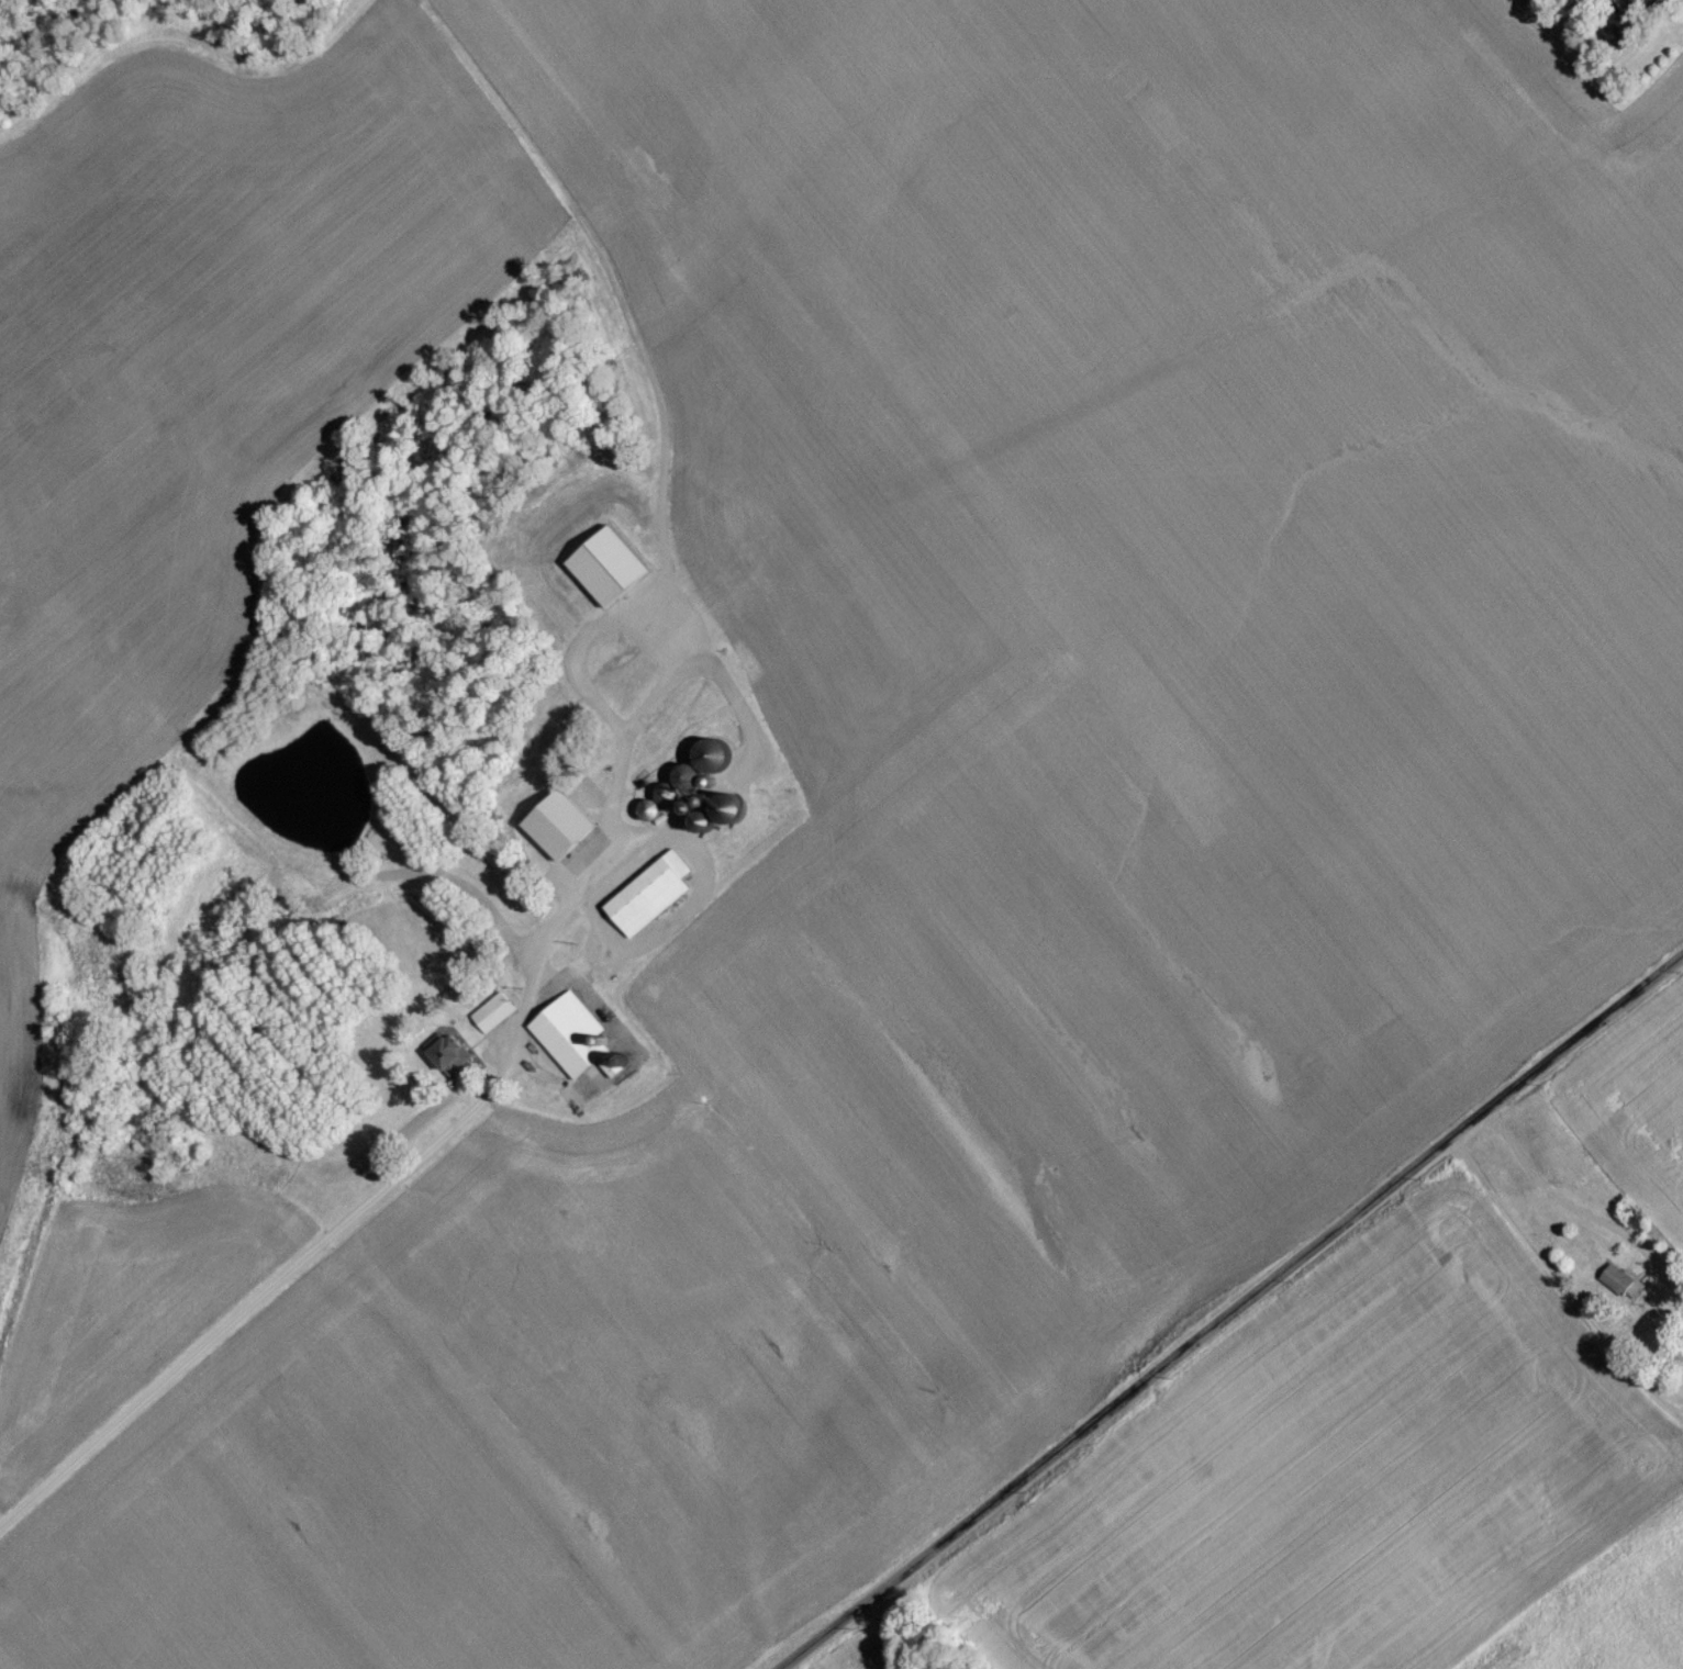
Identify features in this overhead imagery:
building: (1642, 8)
building: (710, 540)
building: (693, 582)
building: (646, 617)
road: (622, 619)
building: (605, 656)
building: (713, 761)
building: (680, 789)
building: (560, 831)
building: (650, 900)
building: (493, 1019)
building: (575, 1045)
building: (449, 1061)
road: (389, 1185)
road: (1581, 1211)
road: (1561, 1284)
building: (1619, 1287)
road: (1235, 1314)

